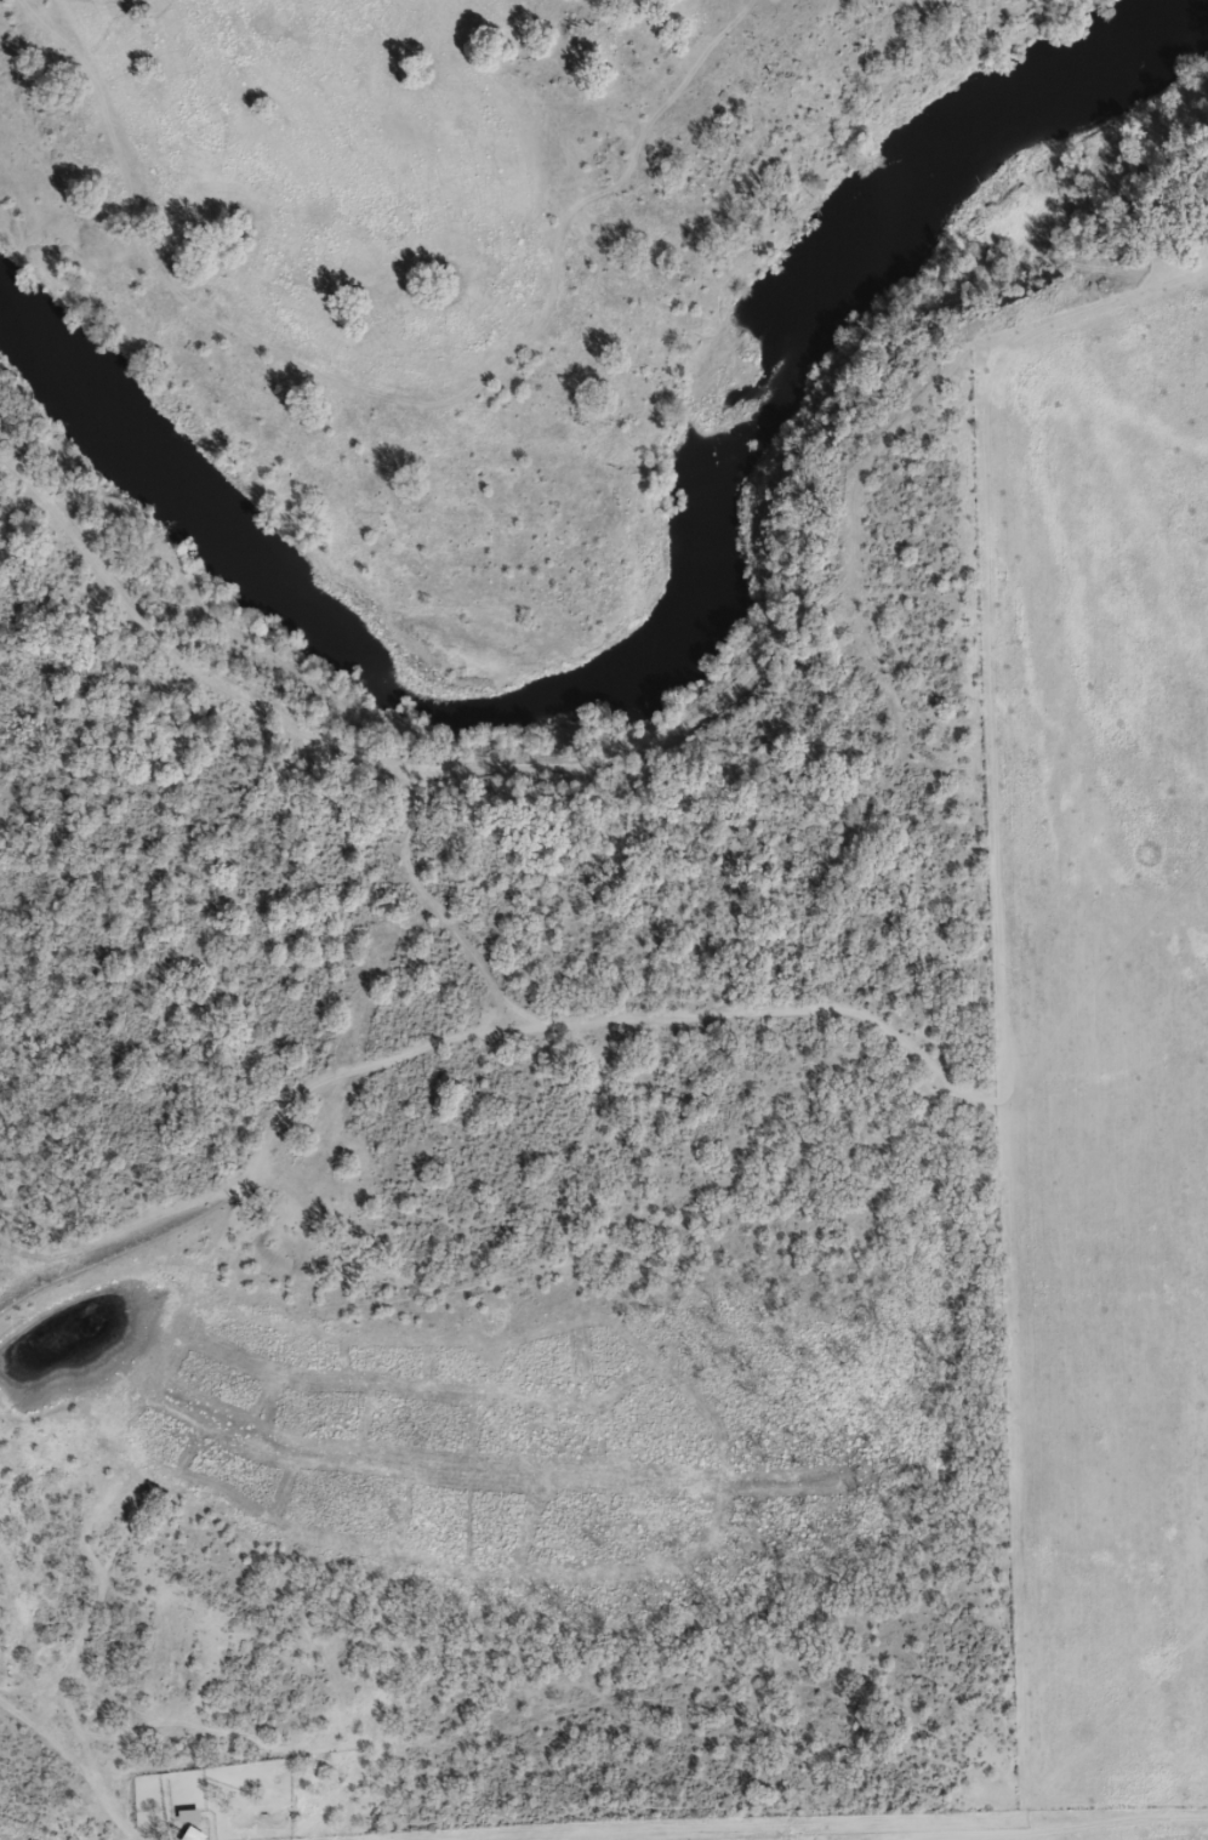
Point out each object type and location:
road: (552, 161)
river: (663, 637)
road: (76, 1745)
road: (1002, 1810)

